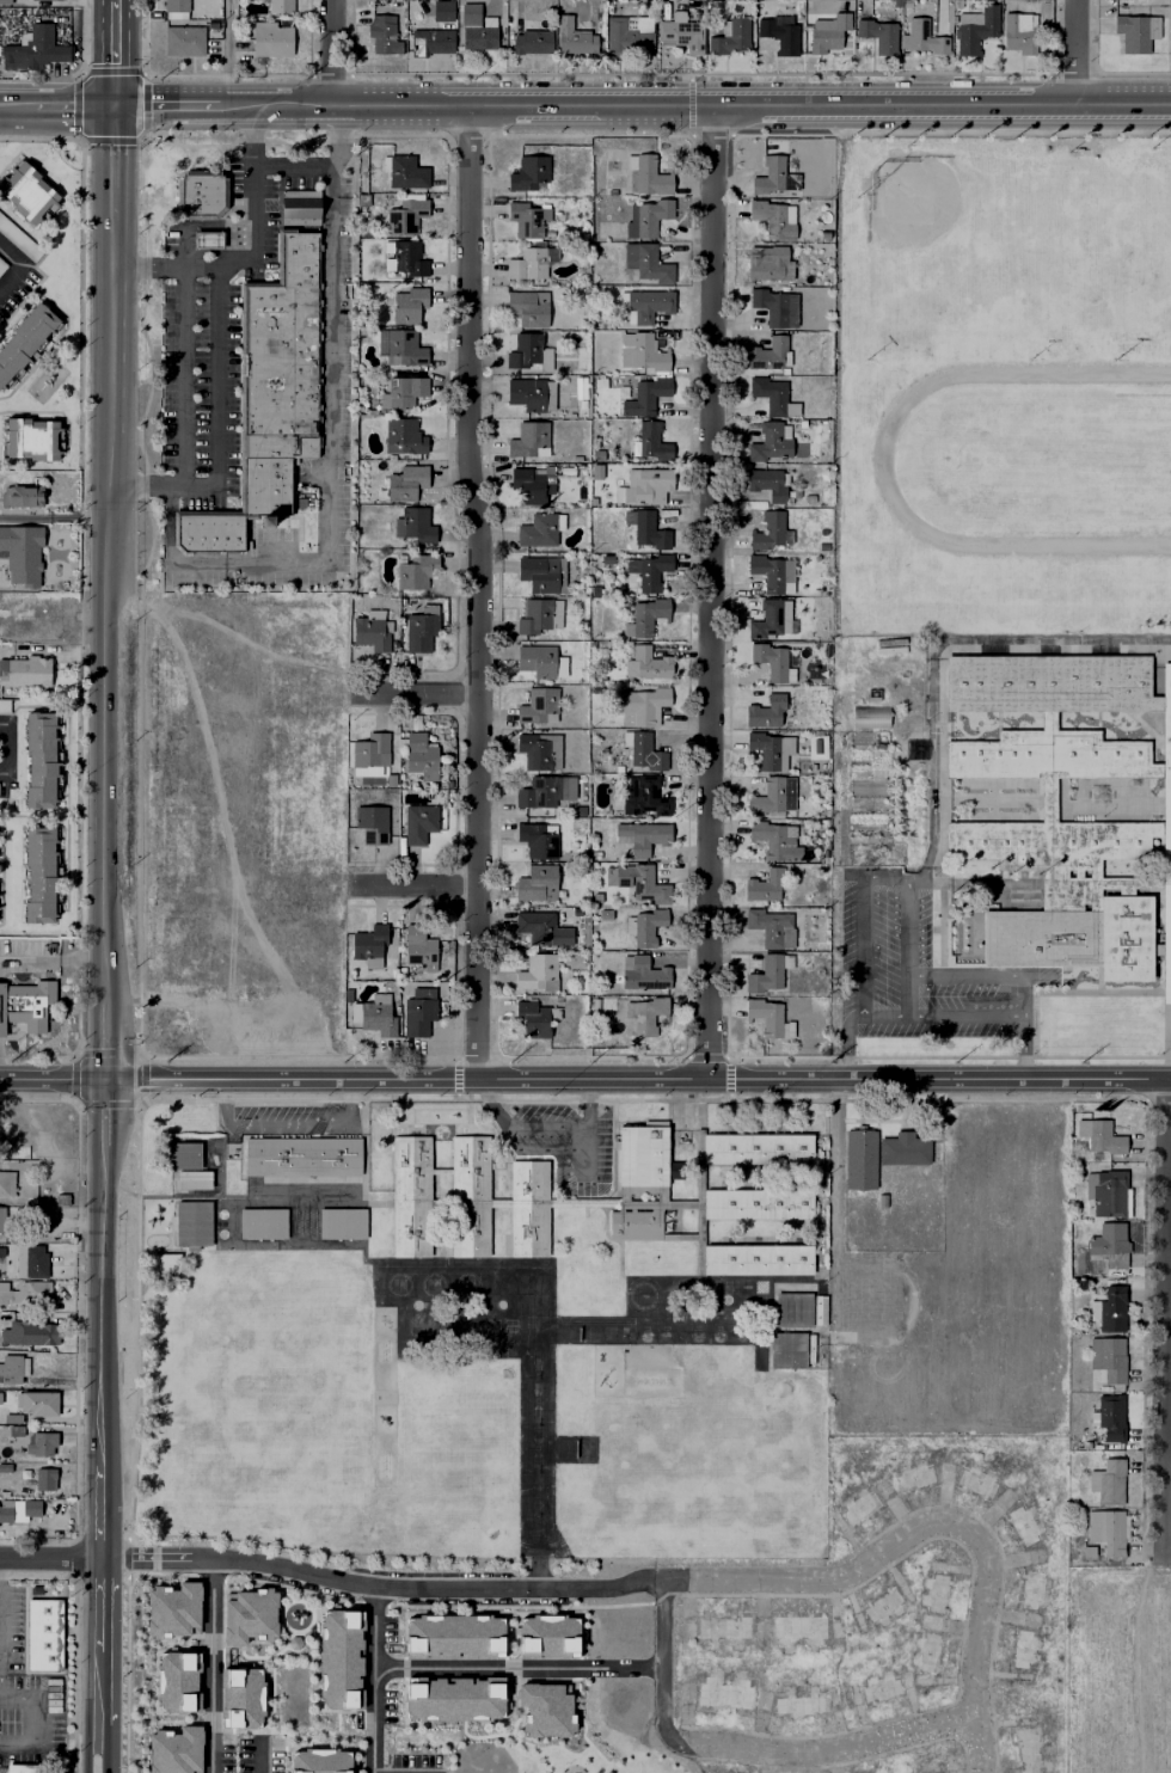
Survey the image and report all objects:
building: (45, 0)
building: (5, 1)
building: (174, 5)
road: (118, 6)
building: (280, 6)
building: (442, 10)
building: (1170, 10)
building: (471, 12)
building: (976, 27)
building: (682, 31)
building: (828, 31)
building: (1019, 31)
building: (1138, 31)
building: (382, 33)
building: (629, 33)
building: (778, 33)
building: (879, 33)
building: (731, 36)
building: (478, 37)
building: (269, 38)
building: (577, 38)
building: (922, 38)
building: (182, 39)
building: (430, 41)
building: (532, 41)
building: (35, 48)
building: (1170, 50)
road: (335, 51)
road: (228, 53)
road: (1078, 53)
road: (118, 59)
road: (167, 105)
road: (694, 105)
traffic signals: (118, 106)
road: (76, 108)
road: (18, 110)
road: (117, 161)
road: (324, 166)
building: (404, 171)
building: (528, 173)
building: (648, 176)
building: (774, 177)
building: (30, 191)
building: (200, 192)
building: (300, 207)
park: (926, 213)
building: (405, 216)
building: (649, 217)
building: (773, 217)
building: (529, 220)
building: (823, 232)
building: (19, 237)
building: (207, 239)
road: (251, 250)
building: (407, 256)
building: (527, 262)
building: (646, 263)
building: (770, 263)
building: (2, 265)
road: (20, 266)
building: (407, 303)
building: (645, 305)
building: (775, 306)
building: (527, 308)
building: (26, 339)
building: (403, 345)
building: (523, 349)
building: (644, 354)
building: (768, 354)
road: (182, 374)
building: (580, 386)
building: (404, 389)
building: (526, 393)
parking lot: (200, 395)
building: (270, 395)
building: (773, 395)
building: (645, 397)
road: (214, 422)
building: (801, 423)
building: (401, 434)
building: (35, 438)
building: (528, 438)
building: (772, 441)
building: (652, 442)
building: (599, 450)
park: (1062, 458)
track: (883, 467)
building: (566, 470)
building: (407, 477)
building: (768, 483)
building: (533, 484)
road: (332, 486)
building: (646, 486)
building: (24, 496)
building: (810, 497)
building: (578, 504)
building: (413, 523)
building: (646, 528)
building: (538, 529)
building: (772, 532)
building: (823, 545)
building: (23, 552)
building: (607, 559)
building: (649, 570)
building: (417, 572)
building: (542, 572)
building: (773, 572)
road: (478, 591)
road: (710, 593)
road: (729, 599)
road: (112, 609)
building: (539, 614)
building: (645, 616)
building: (771, 619)
building: (419, 630)
building: (369, 633)
road: (932, 649)
building: (540, 661)
building: (771, 661)
building: (648, 665)
building: (25, 671)
building: (1047, 683)
road: (416, 695)
building: (643, 703)
building: (1155, 704)
building: (7, 705)
building: (539, 705)
building: (766, 712)
building: (870, 717)
building: (1166, 720)
building: (407, 722)
building: (817, 743)
road: (4, 749)
building: (770, 749)
building: (915, 749)
building: (369, 750)
building: (534, 750)
building: (643, 751)
building: (418, 753)
building: (994, 755)
building: (1099, 755)
building: (43, 760)
building: (1155, 769)
building: (390, 780)
building: (539, 791)
building: (644, 796)
building: (768, 797)
road: (988, 798)
road: (991, 799)
building: (1166, 799)
road: (958, 800)
road: (943, 802)
building: (1048, 809)
building: (370, 823)
building: (418, 823)
road: (226, 829)
building: (1154, 829)
building: (643, 836)
building: (538, 840)
building: (773, 840)
building: (1098, 842)
building: (995, 843)
building: (43, 875)
building: (1166, 876)
building: (642, 883)
building: (538, 884)
road: (416, 887)
building: (767, 887)
building: (1095, 888)
road: (908, 910)
building: (605, 914)
road: (976, 919)
building: (544, 926)
building: (767, 926)
building: (644, 927)
road: (939, 930)
road: (944, 931)
building: (1074, 938)
building: (368, 941)
building: (418, 947)
building: (1157, 949)
road: (54, 958)
parking lot: (918, 968)
building: (1166, 968)
building: (538, 973)
building: (643, 974)
building: (766, 976)
road: (1071, 993)
road: (908, 996)
building: (27, 1006)
building: (419, 1013)
building: (373, 1016)
building: (646, 1016)
road: (944, 1016)
building: (535, 1018)
building: (770, 1019)
road: (1167, 1025)
road: (109, 1042)
road: (456, 1076)
road: (729, 1076)
road: (54, 1080)
road: (639, 1080)
road: (270, 1099)
road: (108, 1115)
parking lot: (289, 1119)
road: (288, 1123)
road: (545, 1124)
building: (1101, 1130)
parking lot: (560, 1140)
building: (756, 1148)
road: (545, 1149)
building: (903, 1149)
building: (182, 1155)
building: (642, 1155)
building: (301, 1158)
road: (587, 1159)
building: (859, 1159)
building: (440, 1171)
building: (194, 1179)
building: (7, 1184)
building: (1106, 1188)
road: (836, 1195)
building: (411, 1196)
building: (470, 1196)
building: (661, 1200)
building: (881, 1201)
building: (498, 1202)
building: (584, 1202)
building: (699, 1202)
building: (440, 1203)
building: (756, 1204)
building: (528, 1209)
building: (2, 1221)
building: (192, 1223)
building: (263, 1223)
building: (342, 1223)
building: (634, 1225)
building: (678, 1237)
building: (1108, 1239)
building: (756, 1259)
building: (32, 1263)
building: (164, 1264)
road: (1169, 1276)
building: (36, 1293)
building: (5, 1294)
building: (1105, 1302)
building: (792, 1309)
road: (1165, 1317)
building: (31, 1333)
building: (787, 1350)
building: (1104, 1354)
park: (535, 1363)
building: (14, 1370)
building: (1, 1399)
park: (535, 1400)
building: (39, 1405)
building: (1106, 1412)
building: (18, 1431)
building: (43, 1446)
park: (535, 1448)
road: (99, 1460)
building: (6, 1468)
road: (1167, 1470)
building: (911, 1474)
building: (1104, 1476)
building: (974, 1479)
building: (47, 1481)
park: (534, 1495)
building: (858, 1503)
building: (32, 1509)
building: (6, 1513)
building: (1019, 1522)
building: (1104, 1526)
road: (907, 1541)
road: (48, 1557)
road: (372, 1584)
building: (933, 1585)
building: (1028, 1587)
building: (883, 1601)
building: (171, 1609)
building: (247, 1615)
building: (722, 1622)
building: (793, 1624)
building: (42, 1630)
building: (548, 1634)
building: (452, 1636)
building: (925, 1644)
building: (1018, 1644)
building: (338, 1659)
road: (519, 1665)
road: (213, 1668)
road: (373, 1679)
building: (176, 1681)
building: (877, 1685)
building: (717, 1689)
building: (239, 1695)
building: (452, 1698)
building: (795, 1700)
building: (544, 1708)
road: (33, 1719)
road: (980, 1747)
building: (1024, 1747)
road: (744, 1749)
building: (173, 1750)
road: (259, 1753)
building: (319, 1761)
building: (931, 1766)
building: (27, 1768)

